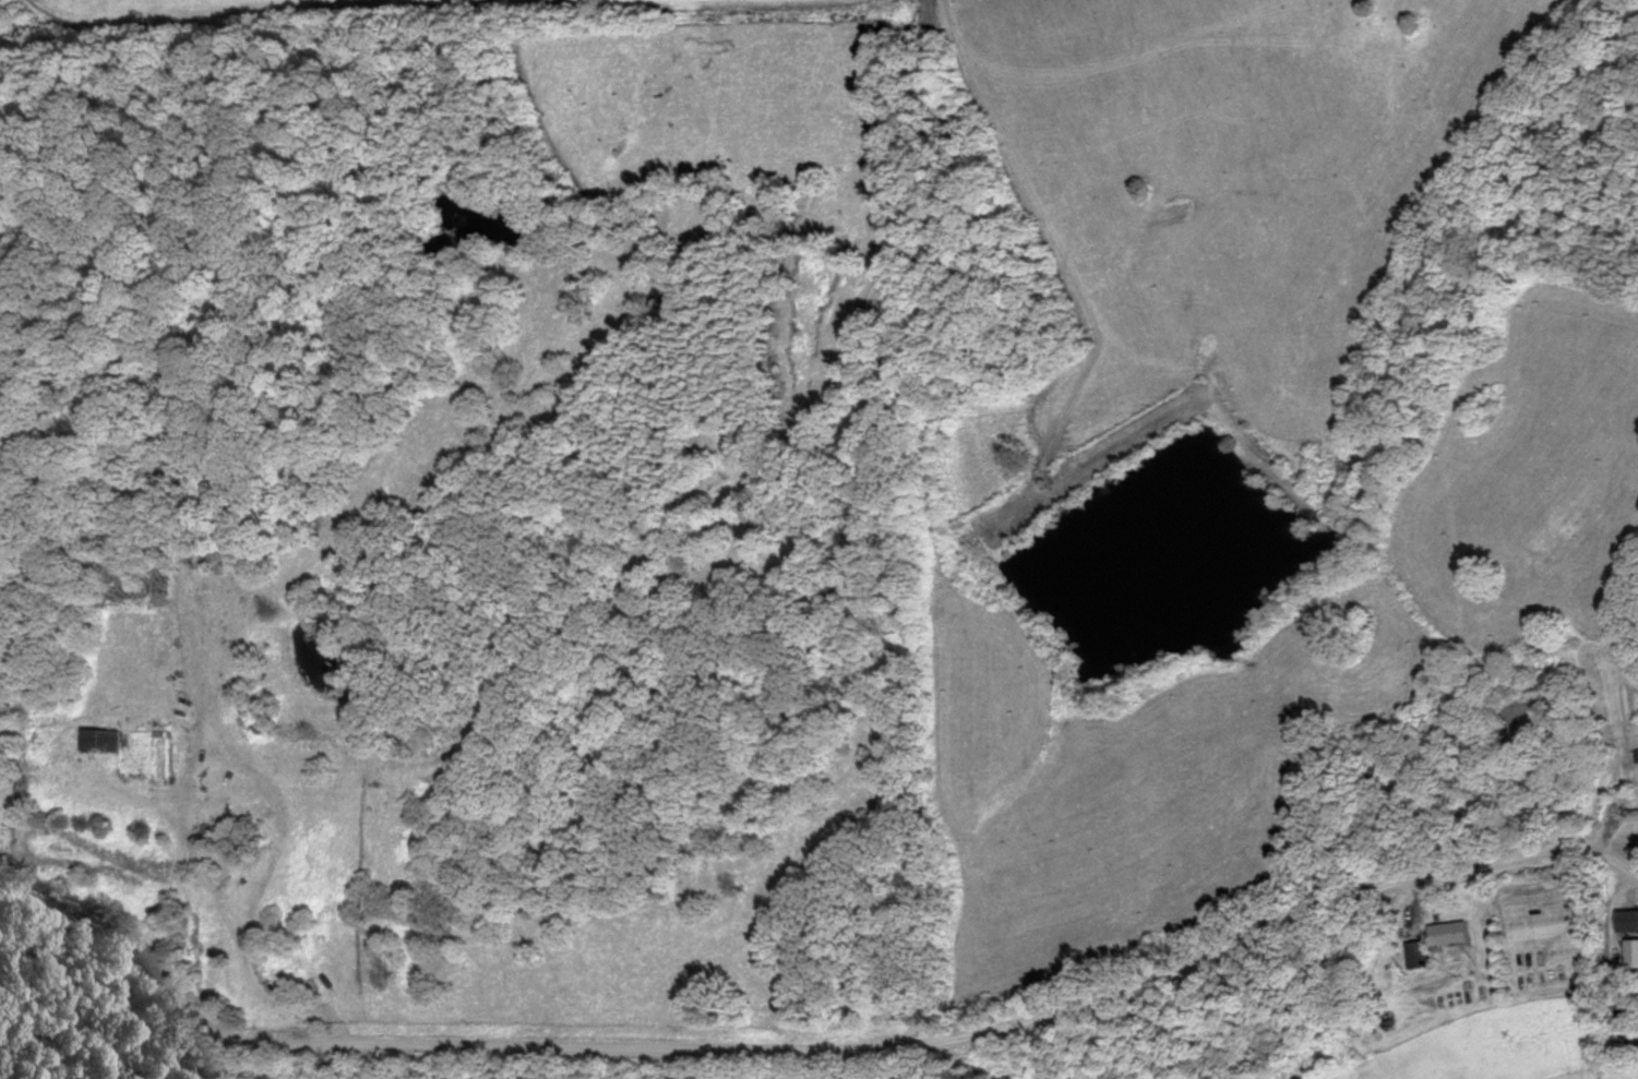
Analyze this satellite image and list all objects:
building: (97, 740)
building: (1636, 814)
building: (1627, 921)
building: (1449, 933)
road: (814, 1051)

